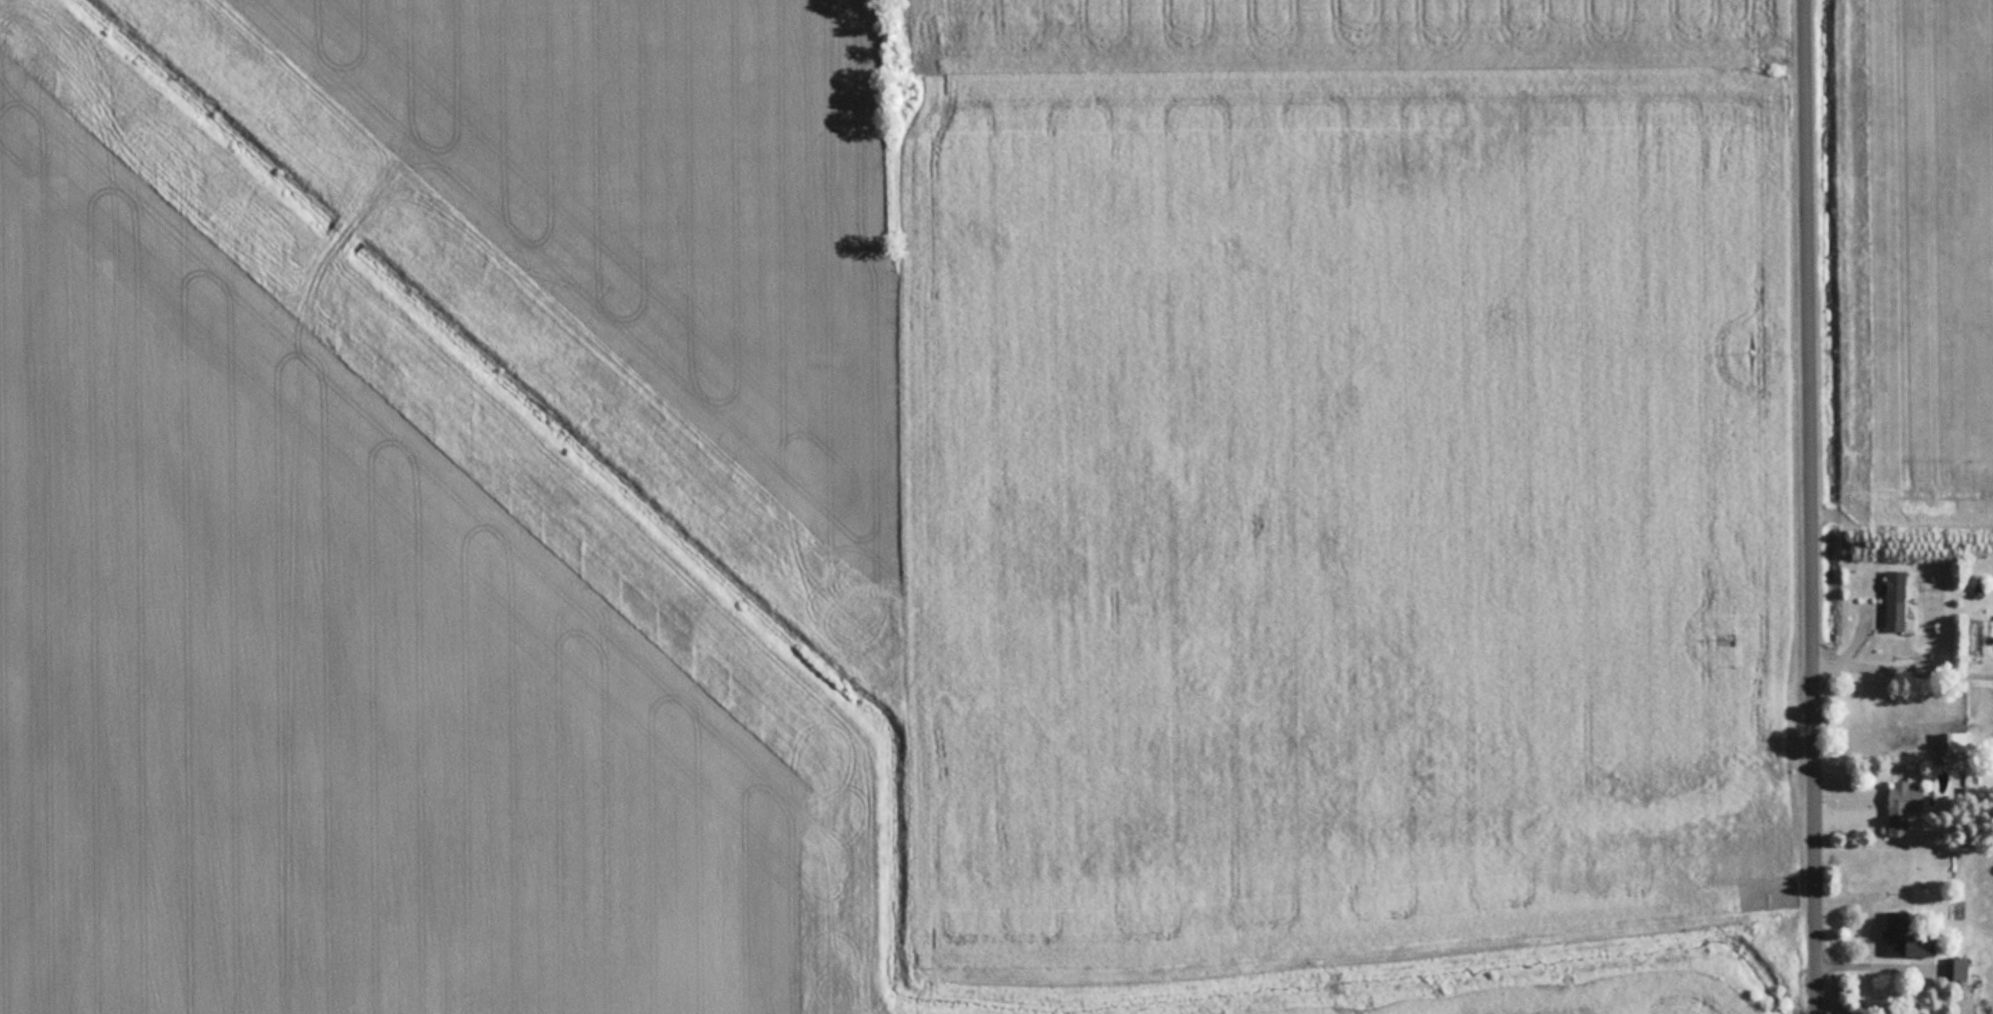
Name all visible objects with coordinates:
road: (1812, 506)
building: (1895, 600)
building: (1953, 742)
building: (1903, 806)
building: (1905, 938)
building: (1956, 968)

